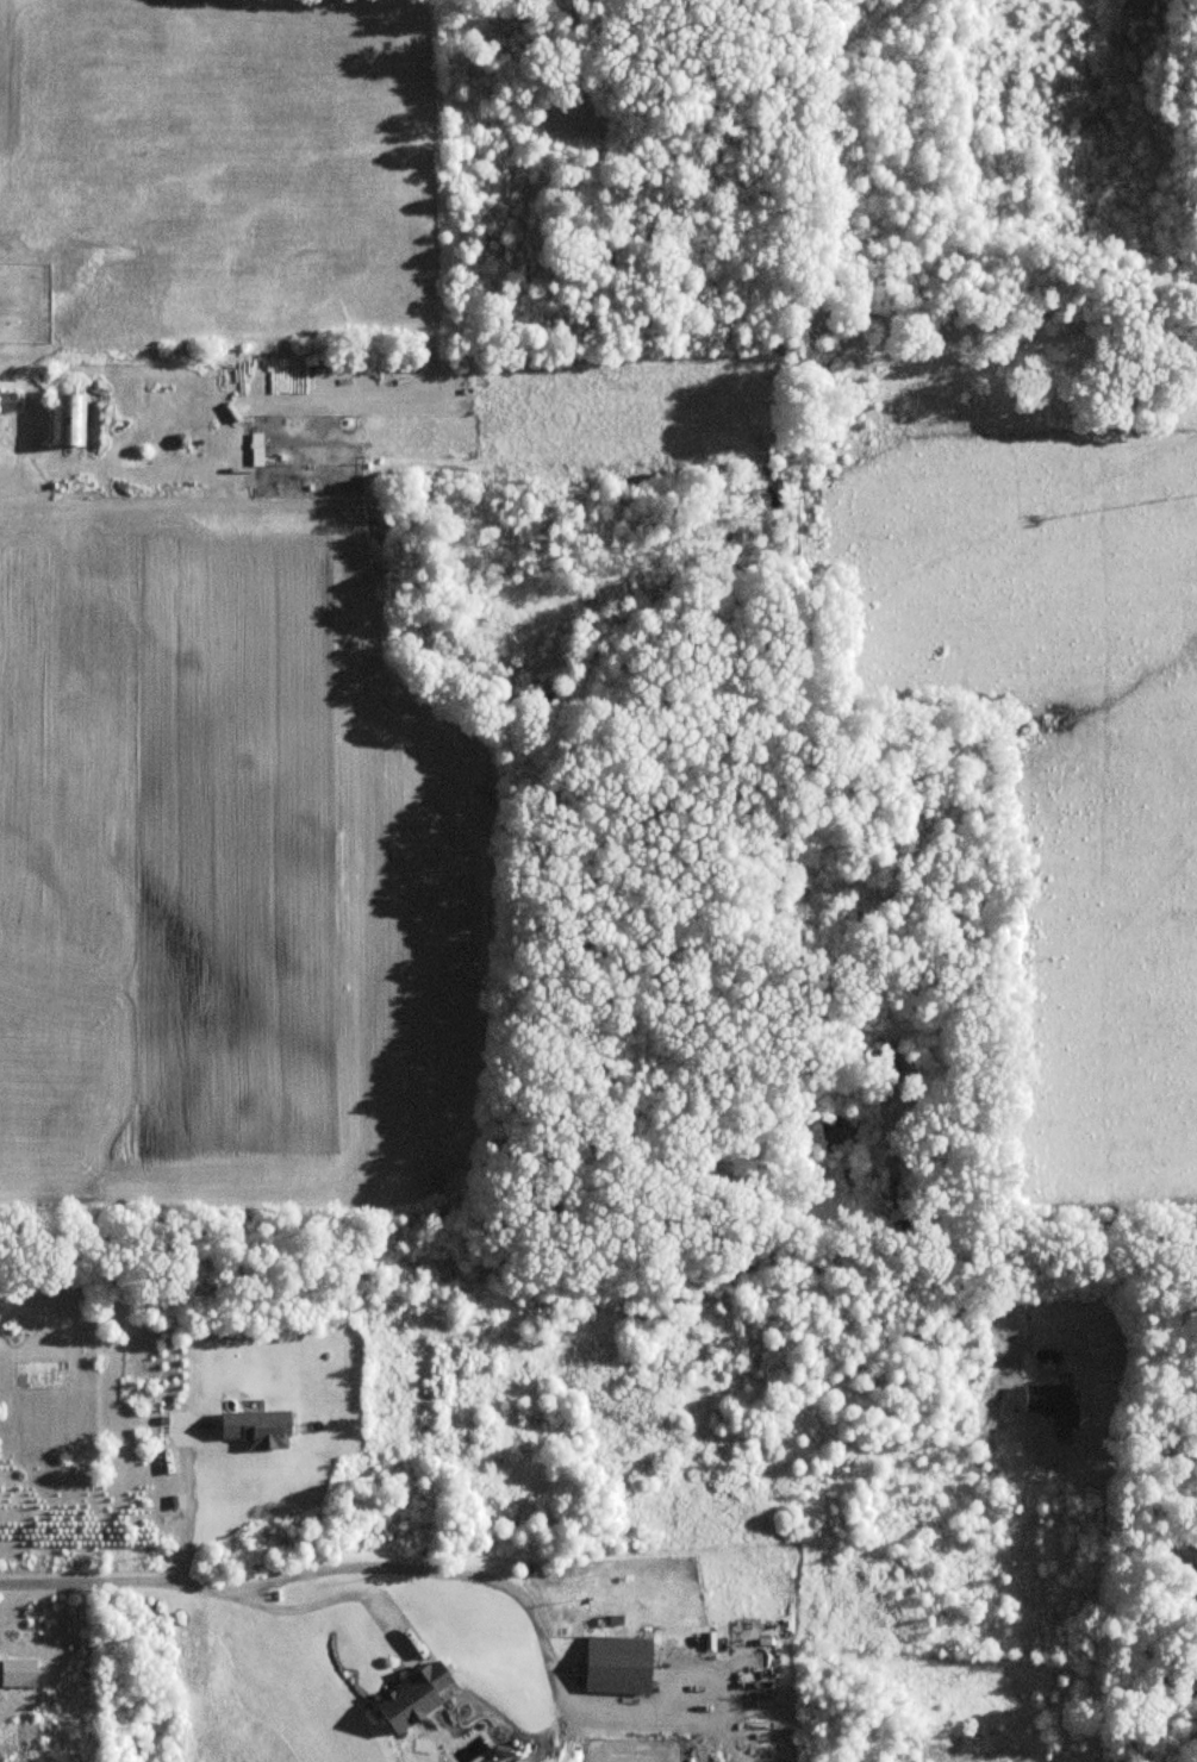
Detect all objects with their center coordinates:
building: (8, 401)
building: (68, 420)
building: (137, 458)
building: (1054, 1402)
building: (260, 1427)
road: (1136, 1458)
road: (186, 1504)
road: (330, 1564)
road: (332, 1595)
building: (619, 1673)
building: (416, 1698)

